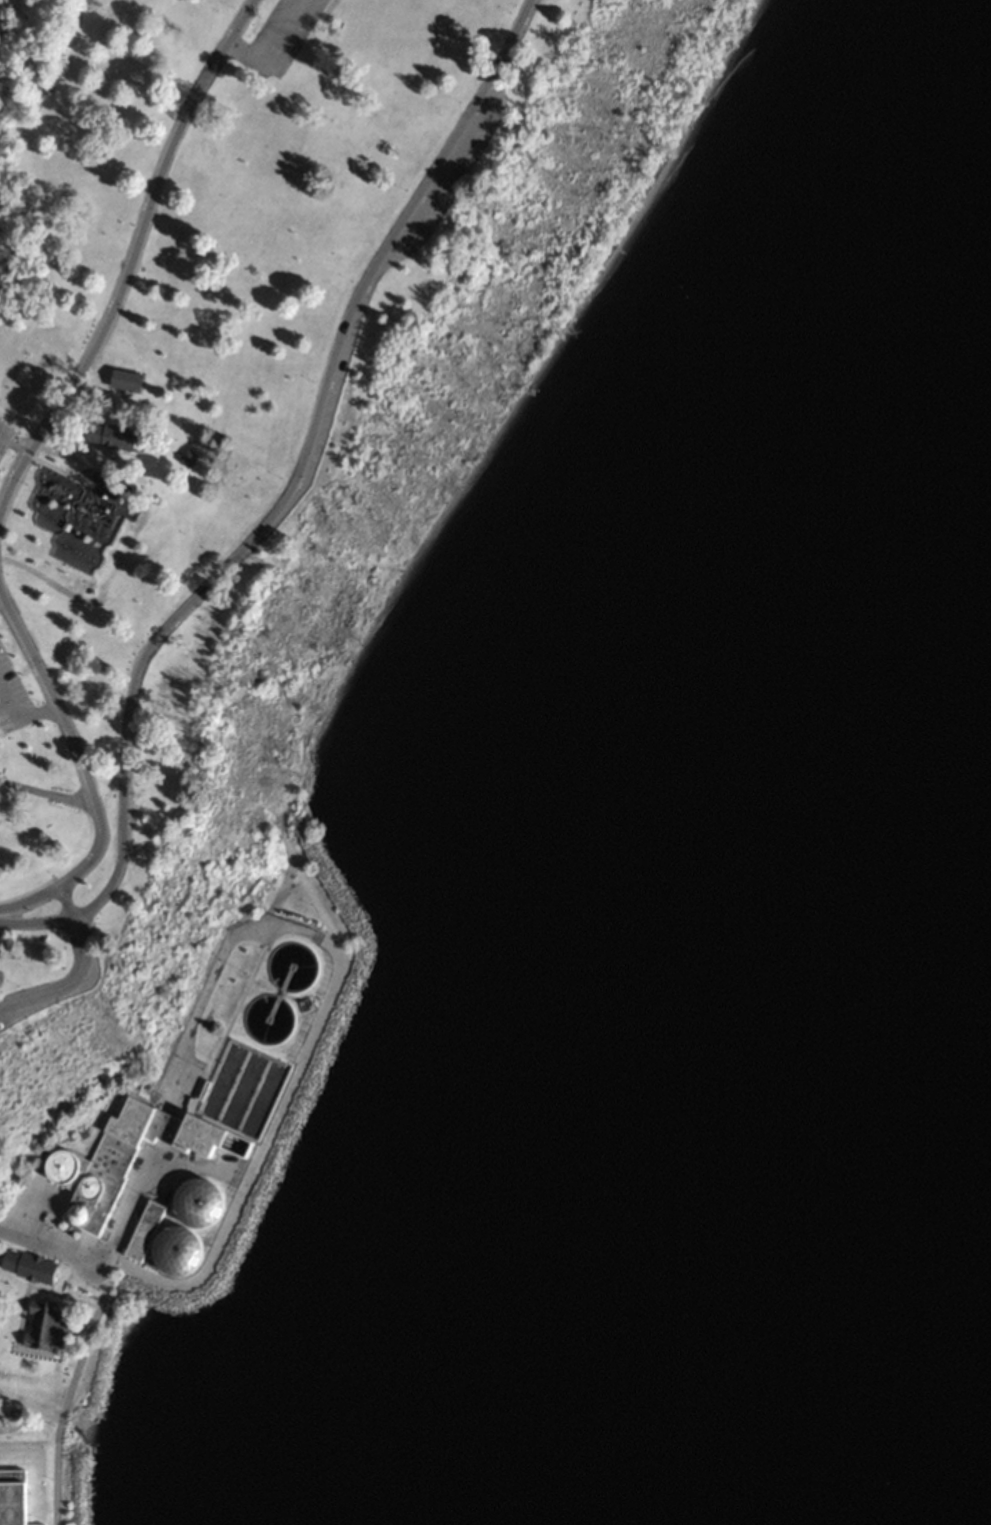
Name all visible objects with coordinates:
parking lot: (278, 36)
road: (274, 46)
parking lot: (453, 176)
road: (132, 261)
building: (113, 437)
parking lot: (4, 438)
road: (14, 444)
building: (186, 458)
road: (99, 477)
road: (280, 505)
park: (257, 559)
parking lot: (11, 697)
road: (18, 724)
road: (9, 730)
road: (83, 772)
road: (40, 796)
road: (28, 890)
road: (314, 897)
road: (74, 968)
building: (199, 1137)
building: (95, 1171)
road: (251, 1177)
road: (236, 1185)
road: (55, 1226)
building: (144, 1231)
road: (53, 1249)
building: (27, 1266)
road: (41, 1289)
building: (44, 1327)
building: (12, 1497)

